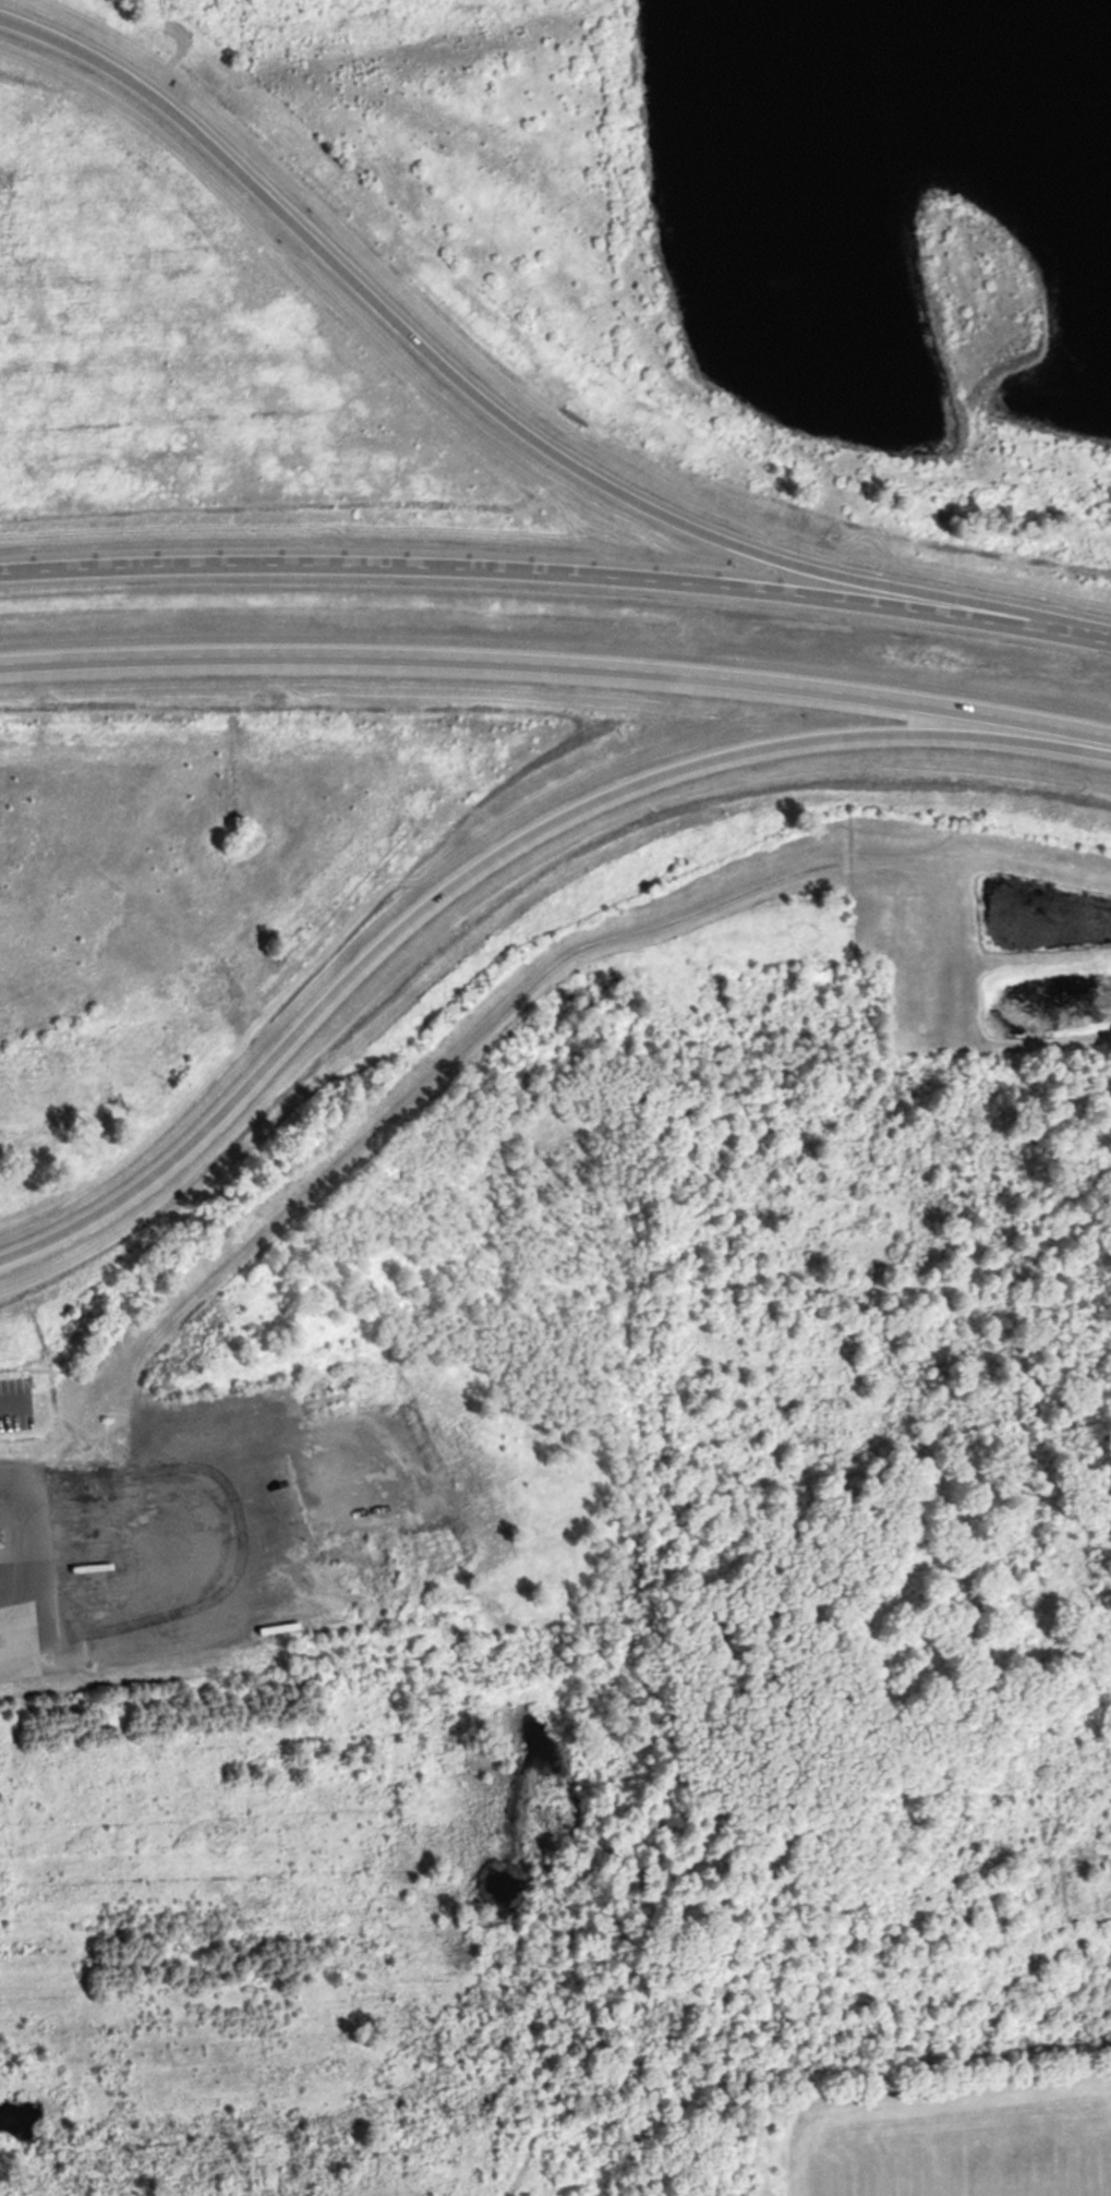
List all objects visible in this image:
road: (492, 412)
road: (557, 574)
road: (557, 664)
road: (496, 855)
road: (7, 1410)
road: (11, 1556)

